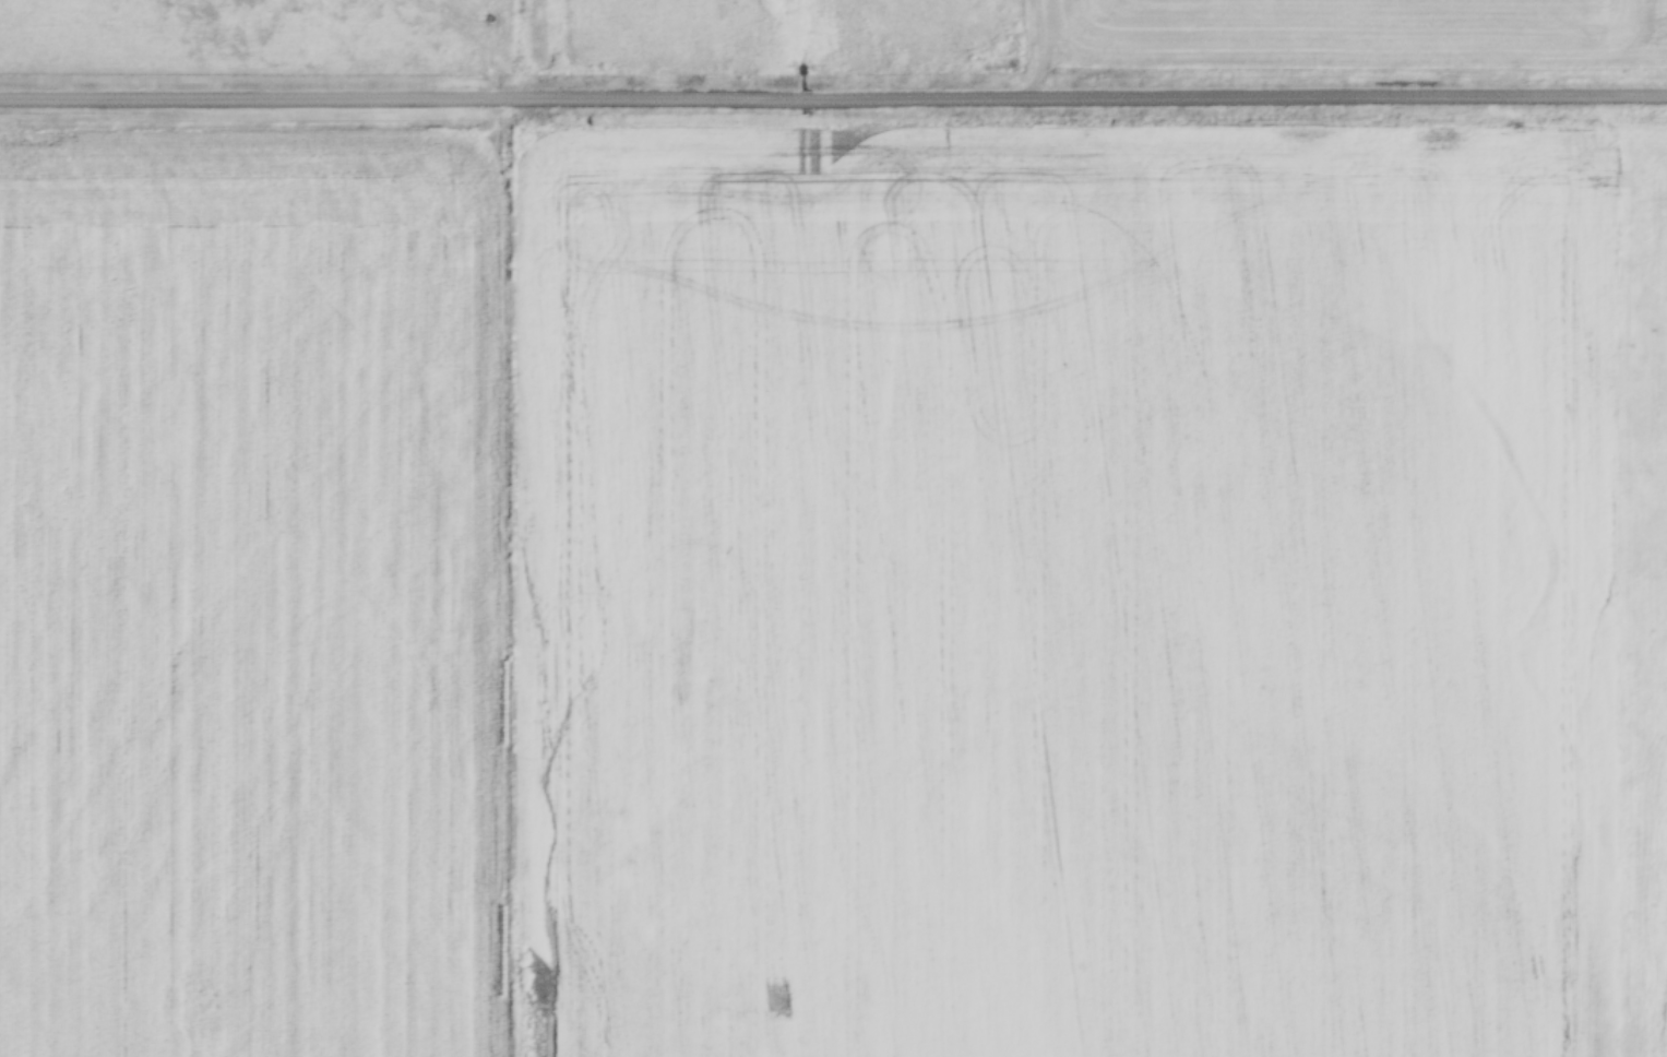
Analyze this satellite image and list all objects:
road: (833, 102)

